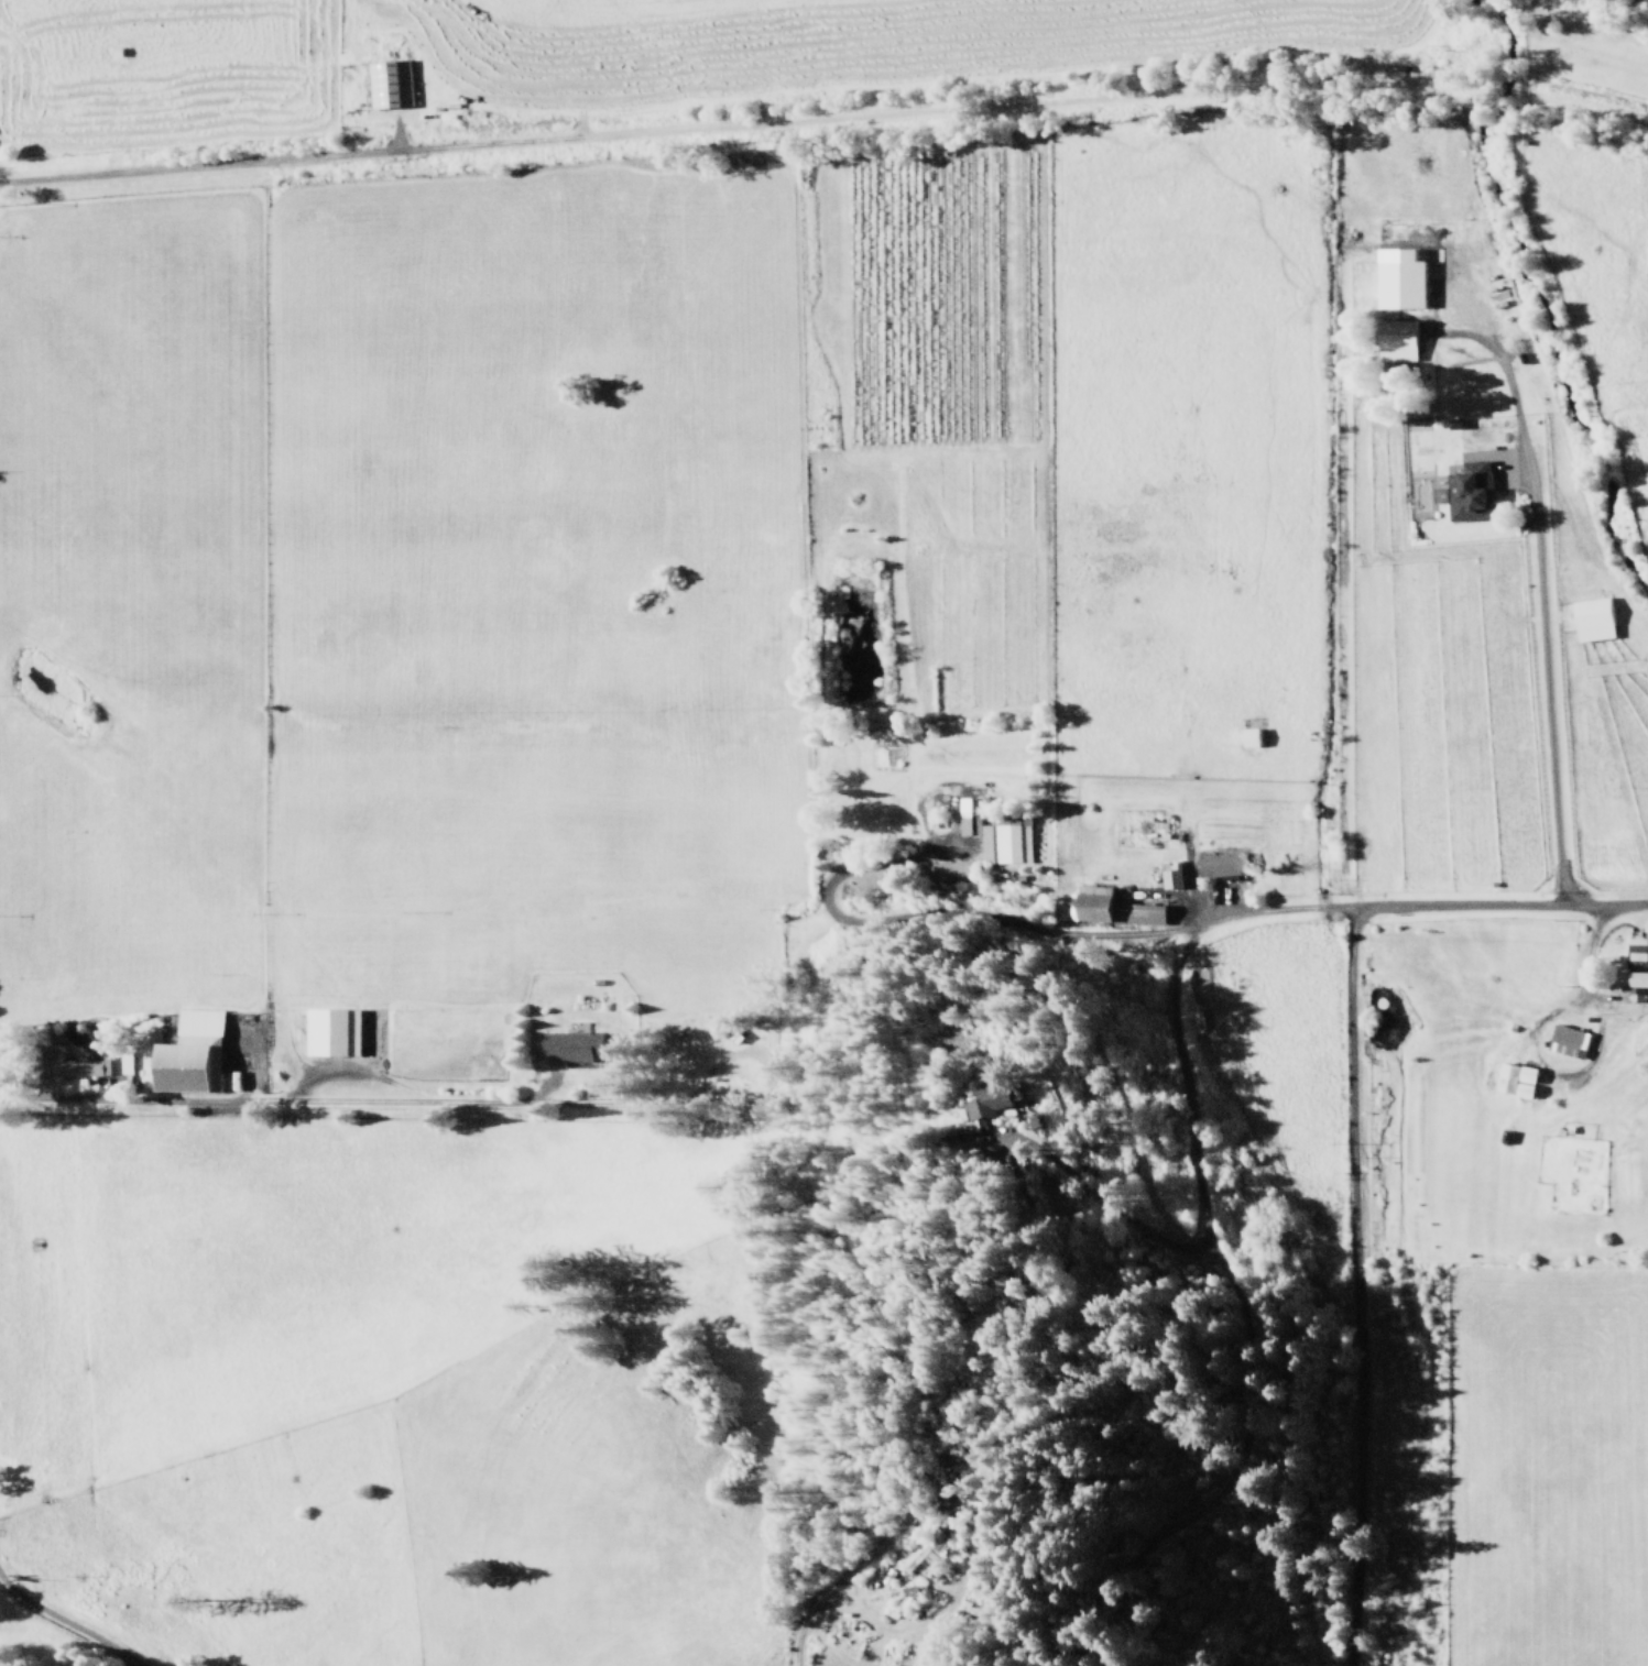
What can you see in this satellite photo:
building: (386, 83)
road: (657, 130)
building: (1397, 277)
building: (1394, 338)
building: (1467, 490)
building: (1590, 617)
road: (1543, 678)
building: (996, 834)
building: (1219, 864)
building: (1169, 873)
road: (1499, 902)
building: (1139, 912)
building: (1636, 966)
road: (1168, 1004)
building: (329, 1031)
building: (1565, 1040)
building: (570, 1045)
building: (187, 1053)
building: (74, 1063)
building: (1513, 1078)
building: (976, 1103)
road: (1351, 1285)
road: (1230, 1475)
building: (902, 1542)
road: (797, 1622)

